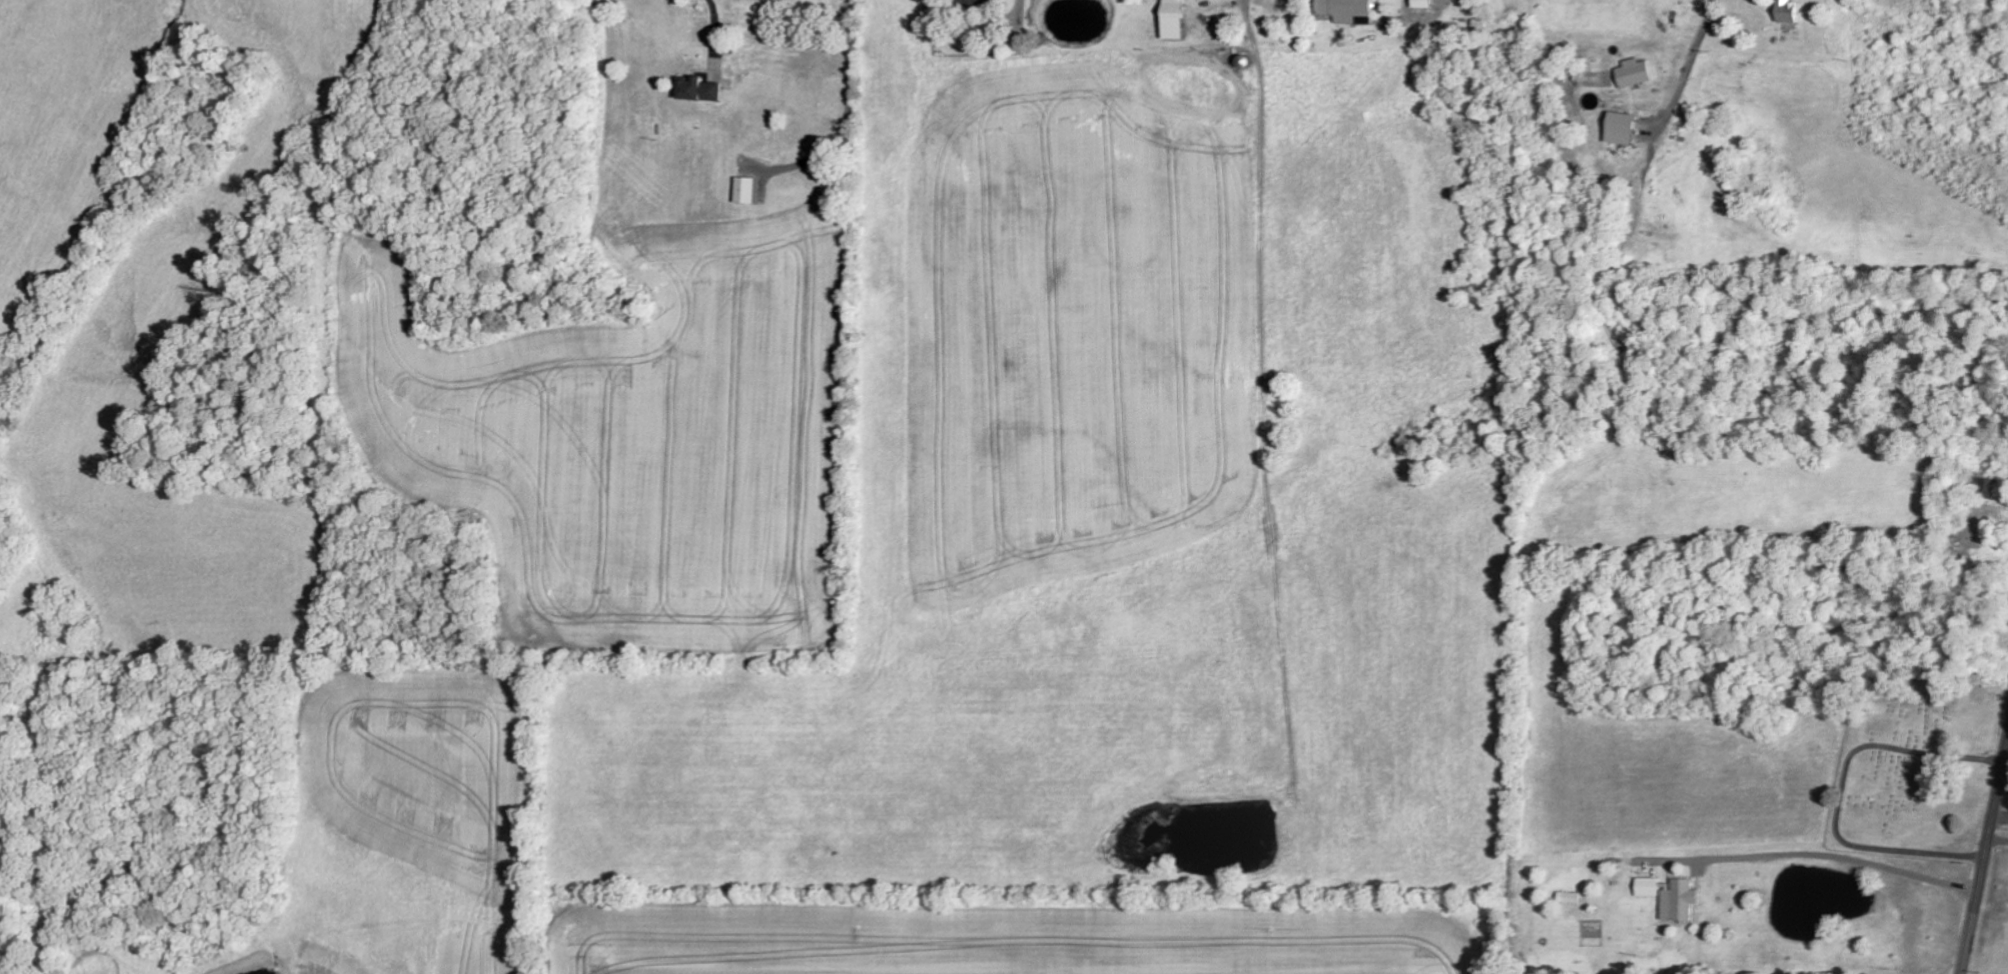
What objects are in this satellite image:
building: (1427, 3)
building: (984, 5)
building: (1351, 10)
building: (1794, 11)
building: (1180, 19)
building: (1638, 72)
building: (704, 89)
building: (1627, 128)
building: (750, 190)
road: (2007, 759)
park: (1914, 768)
road: (2001, 814)
road: (1985, 861)
building: (1652, 886)
building: (1683, 899)

